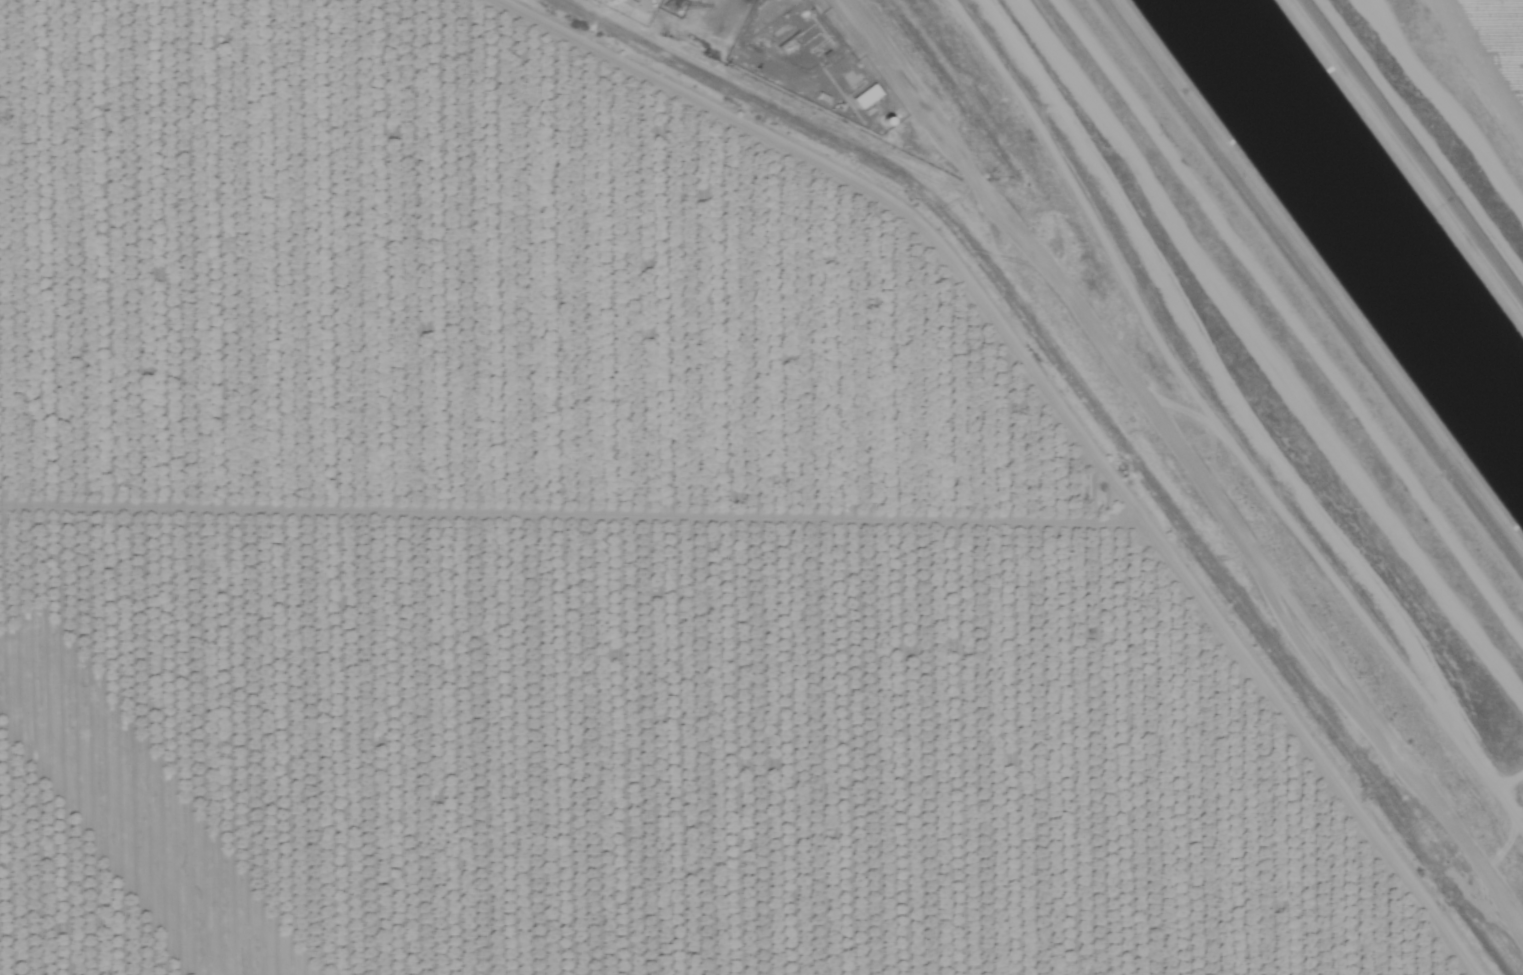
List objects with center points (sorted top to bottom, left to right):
building: (862, 95)
road: (1197, 444)

